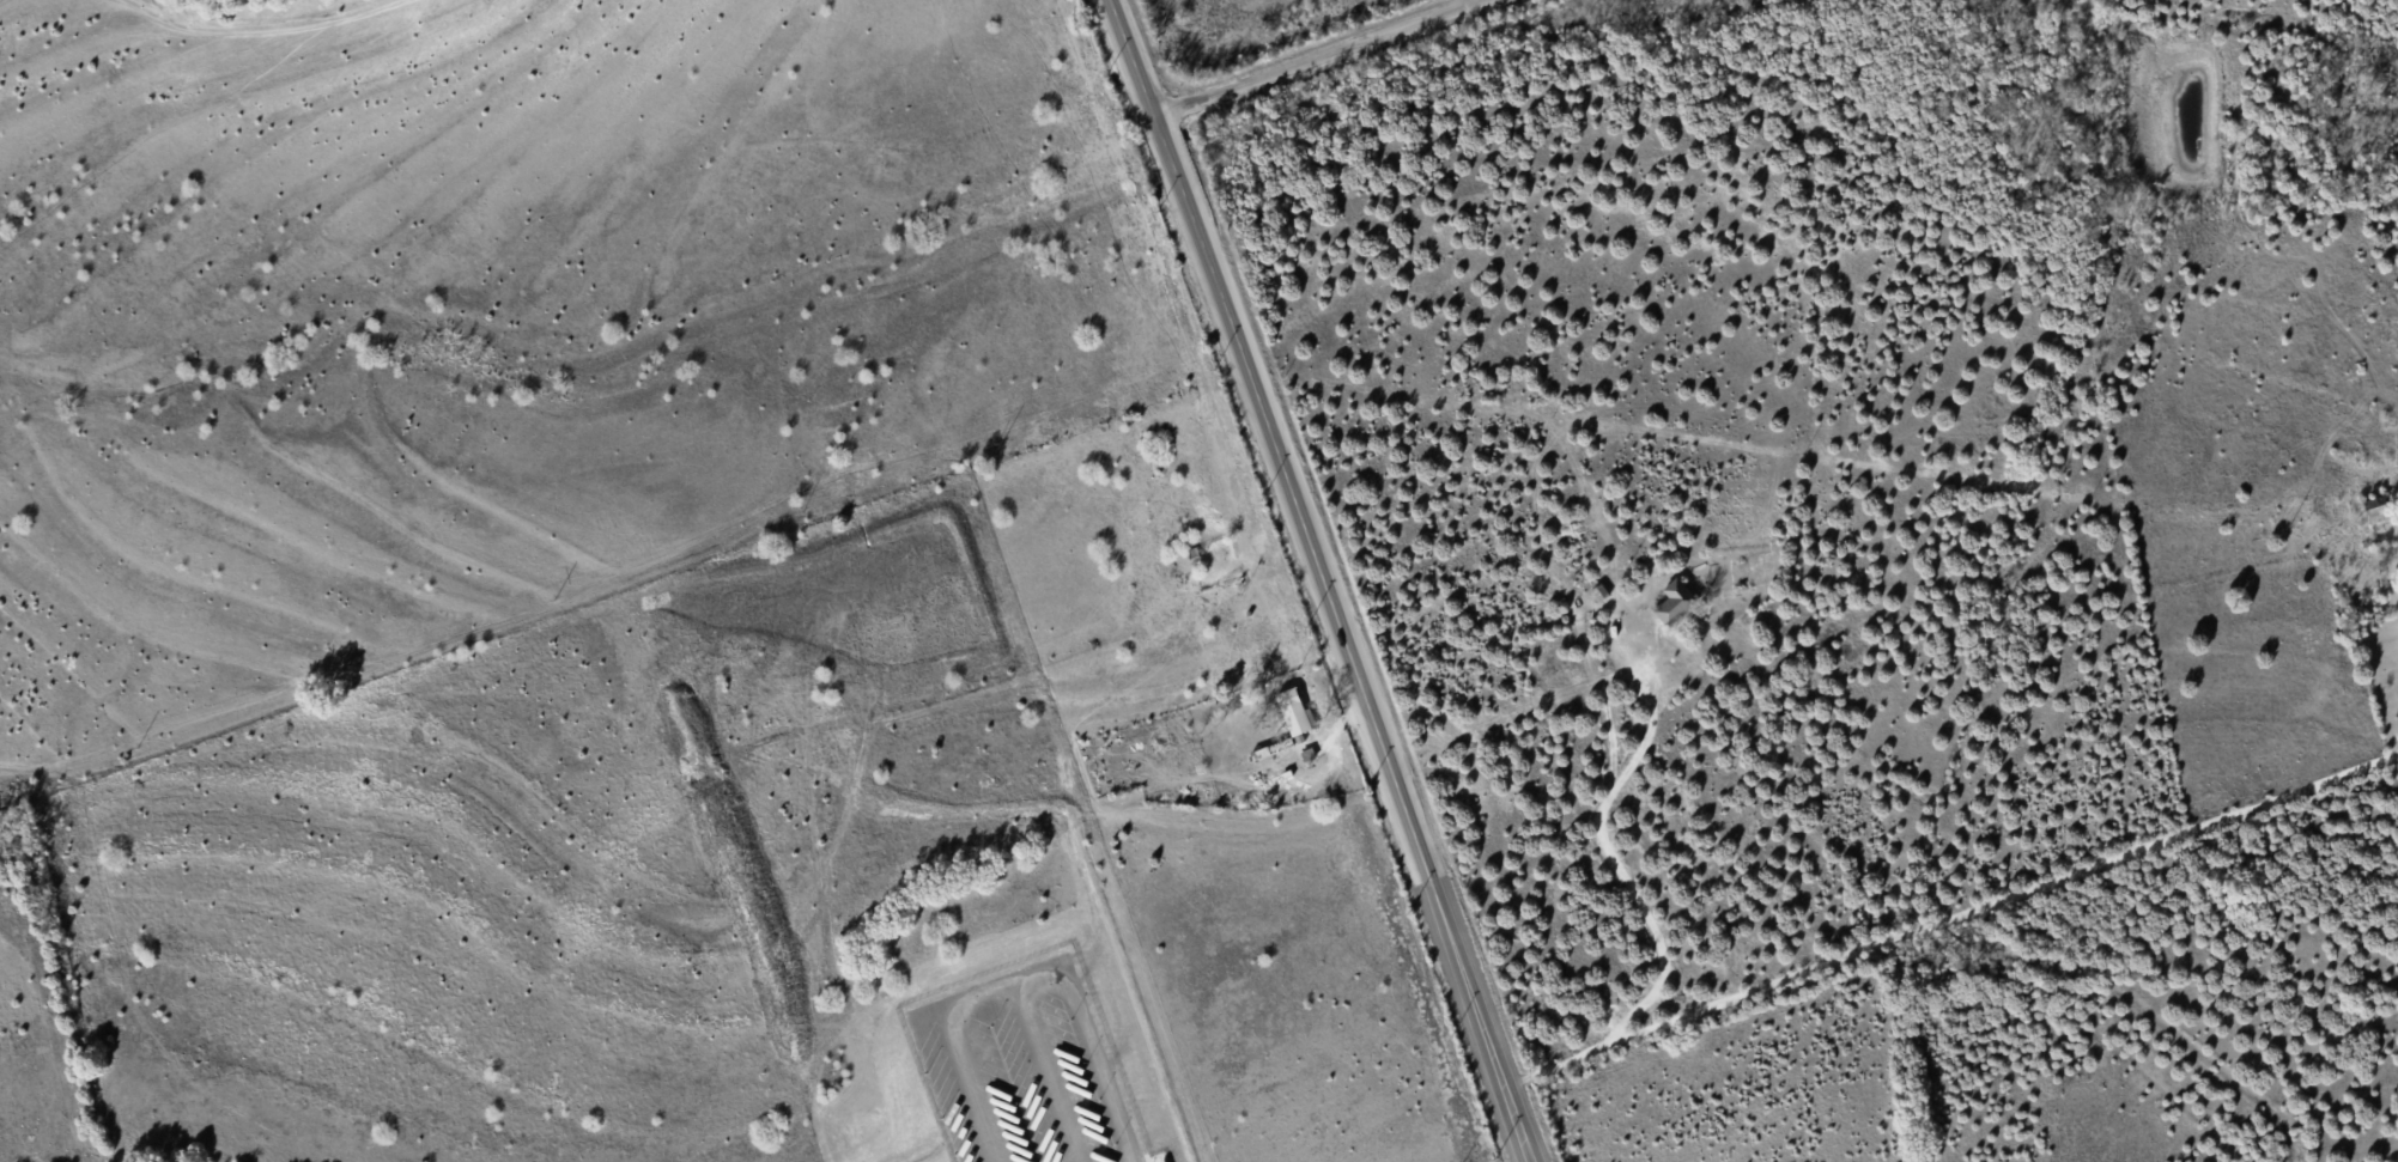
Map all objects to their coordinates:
road: (1309, 53)
building: (2376, 509)
road: (1317, 582)
building: (1674, 601)
building: (1293, 711)
road: (1608, 795)
road: (1950, 917)
road: (1002, 978)
road: (1099, 1066)
road: (975, 1087)

